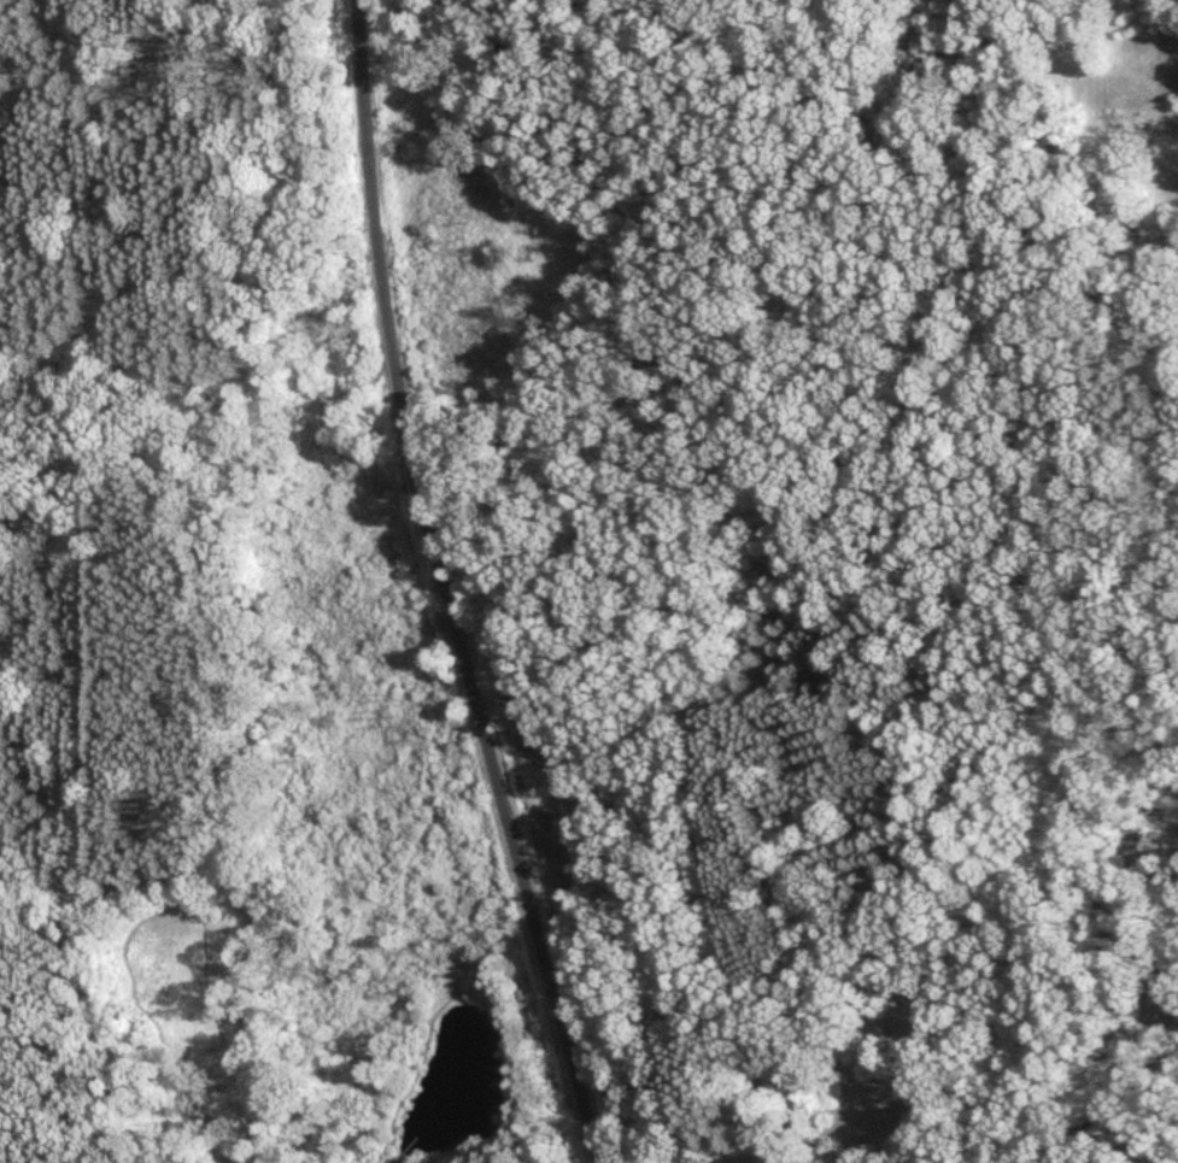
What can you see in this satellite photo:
road: (445, 587)
road: (863, 1041)

